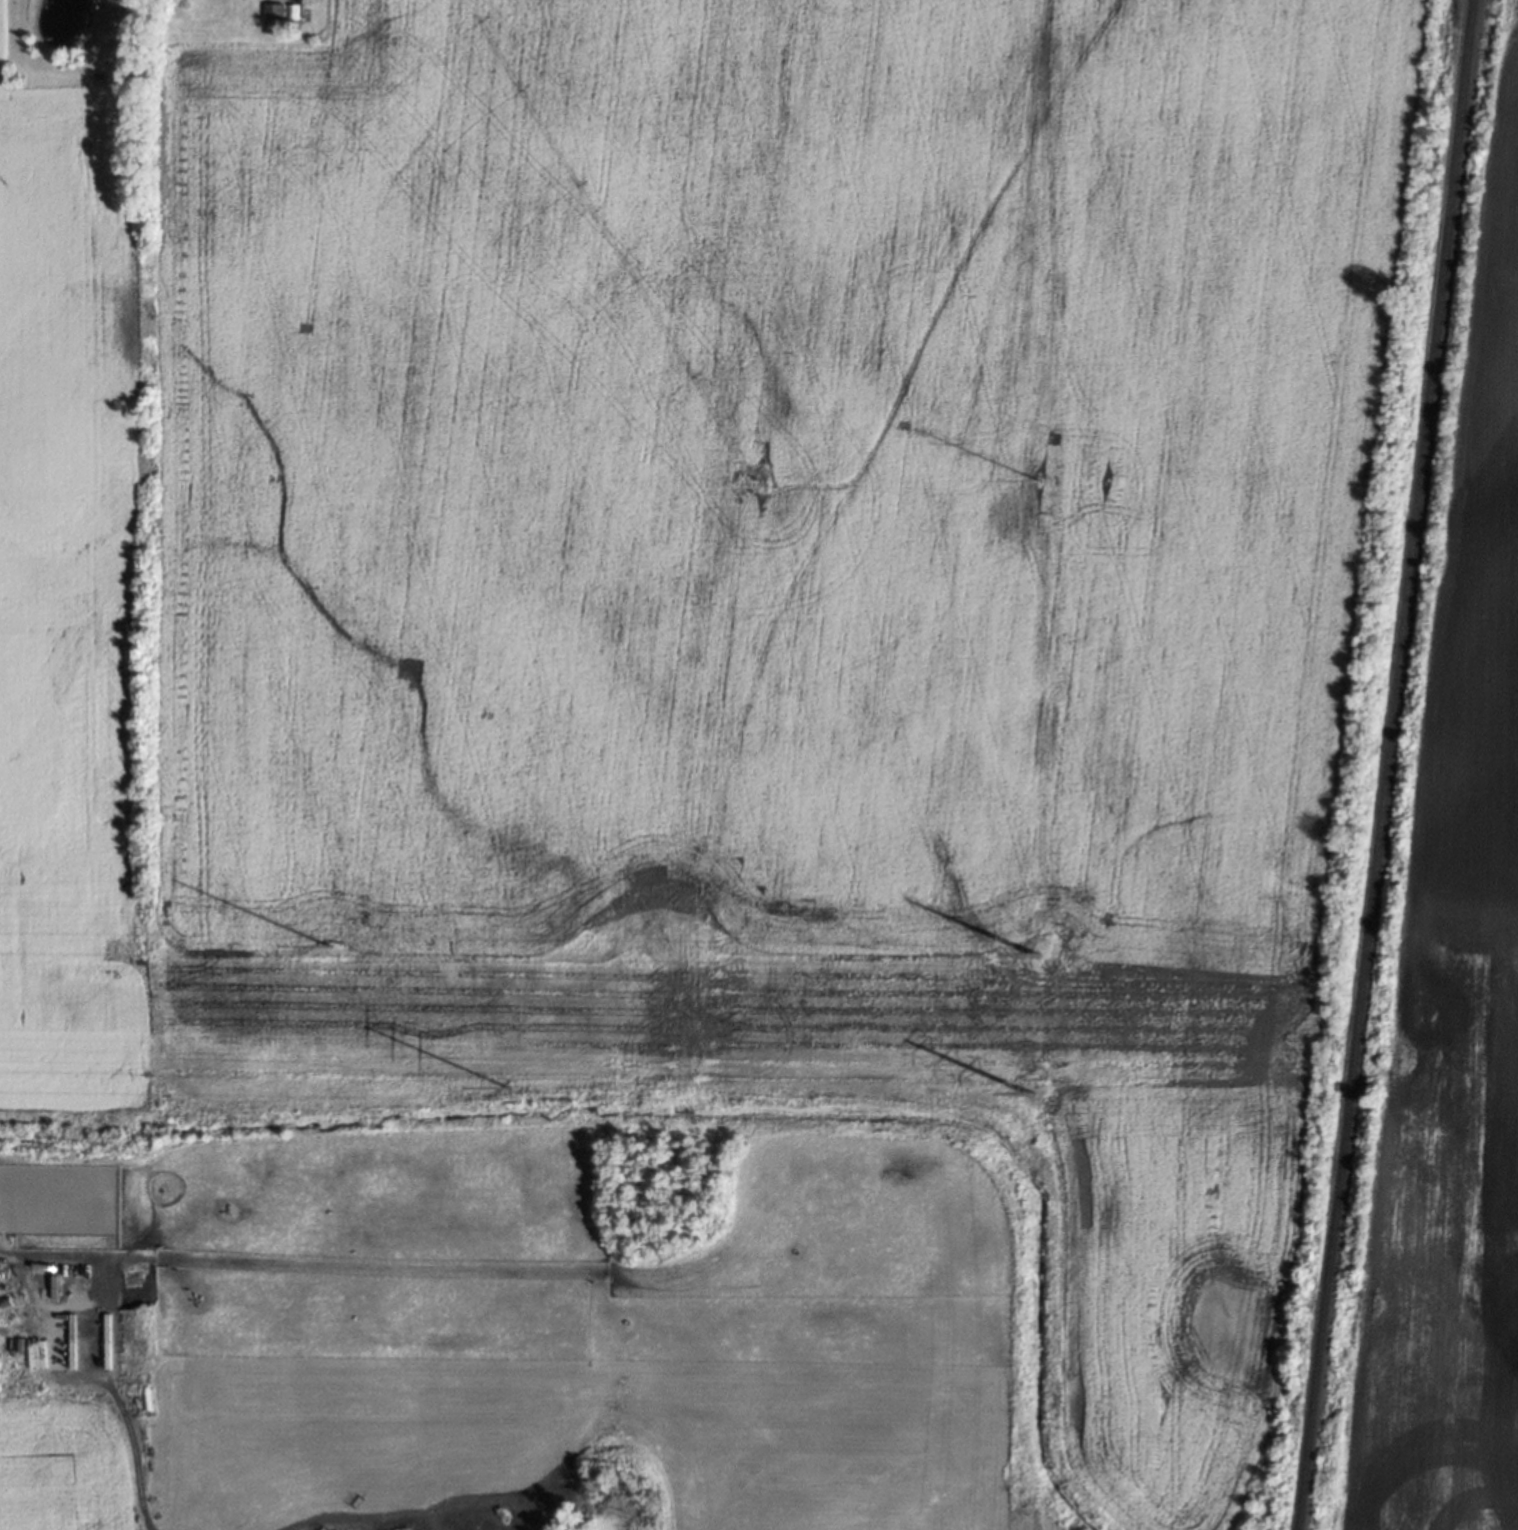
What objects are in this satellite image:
building: (273, 16)
building: (116, 17)
power tower: (1038, 480)
railway: (1384, 764)
power tower: (327, 936)
power tower: (1035, 947)
crop: (1453, 975)
power tower: (507, 1080)
power tower: (1034, 1093)
road: (52, 1244)

